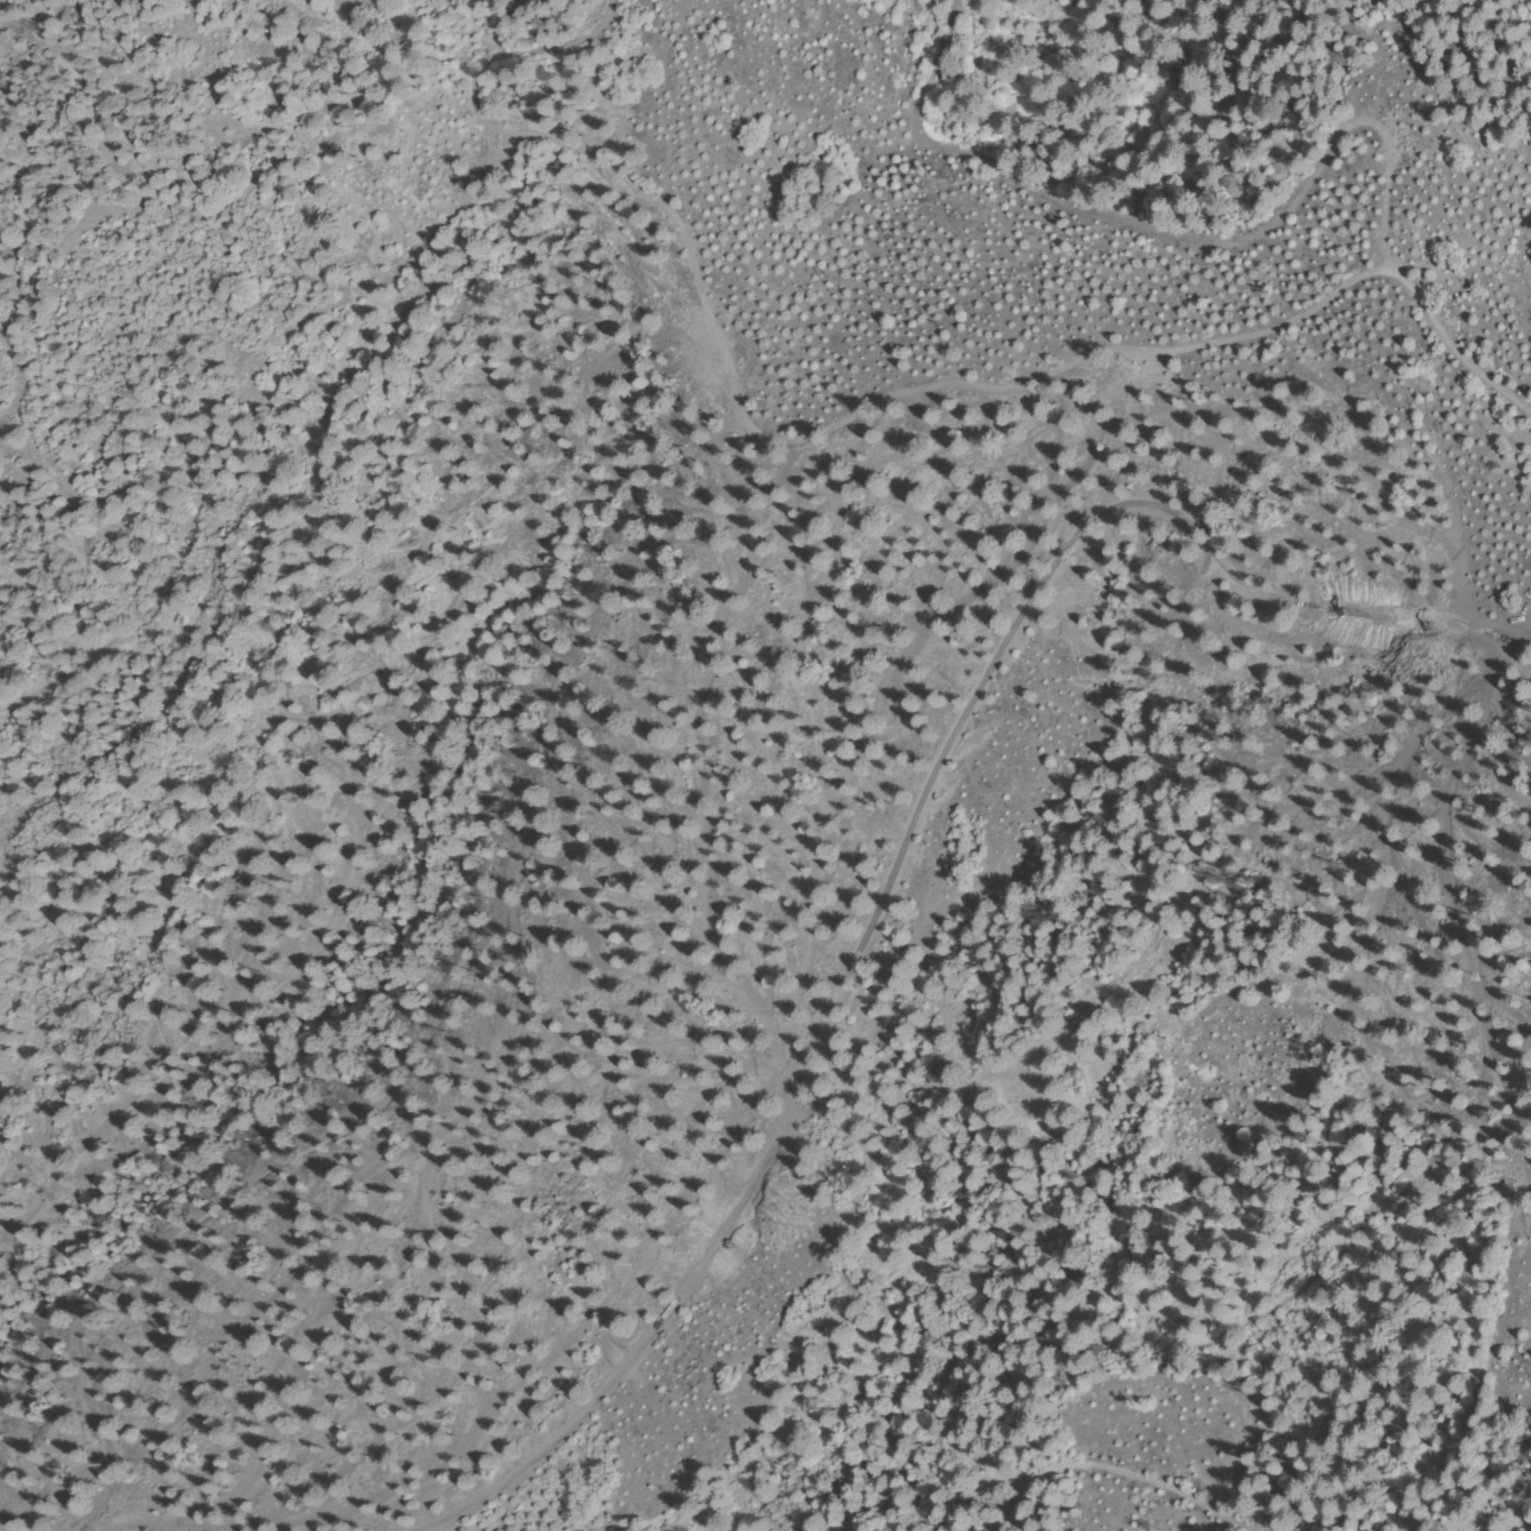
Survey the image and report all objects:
road: (520, 55)
road: (596, 173)
road: (1258, 221)
road: (1530, 634)
road: (1530, 634)
road: (824, 793)
road: (903, 853)
road: (1132, 1461)

